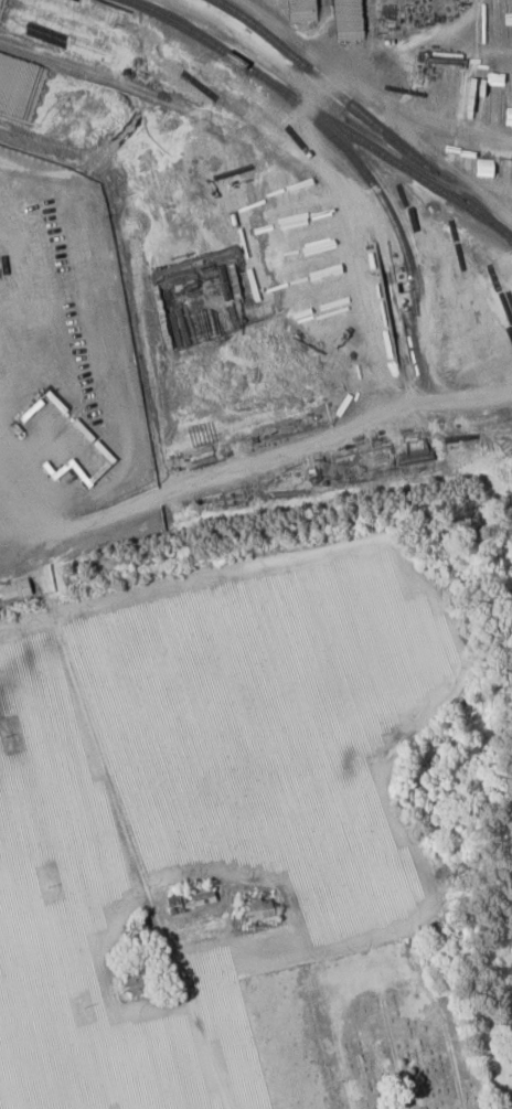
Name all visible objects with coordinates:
railway: (360, 110)
railway: (324, 115)
railway: (369, 180)
road: (267, 459)
building: (13, 590)
road: (116, 795)
building: (257, 913)
building: (136, 982)
park: (401, 1027)

